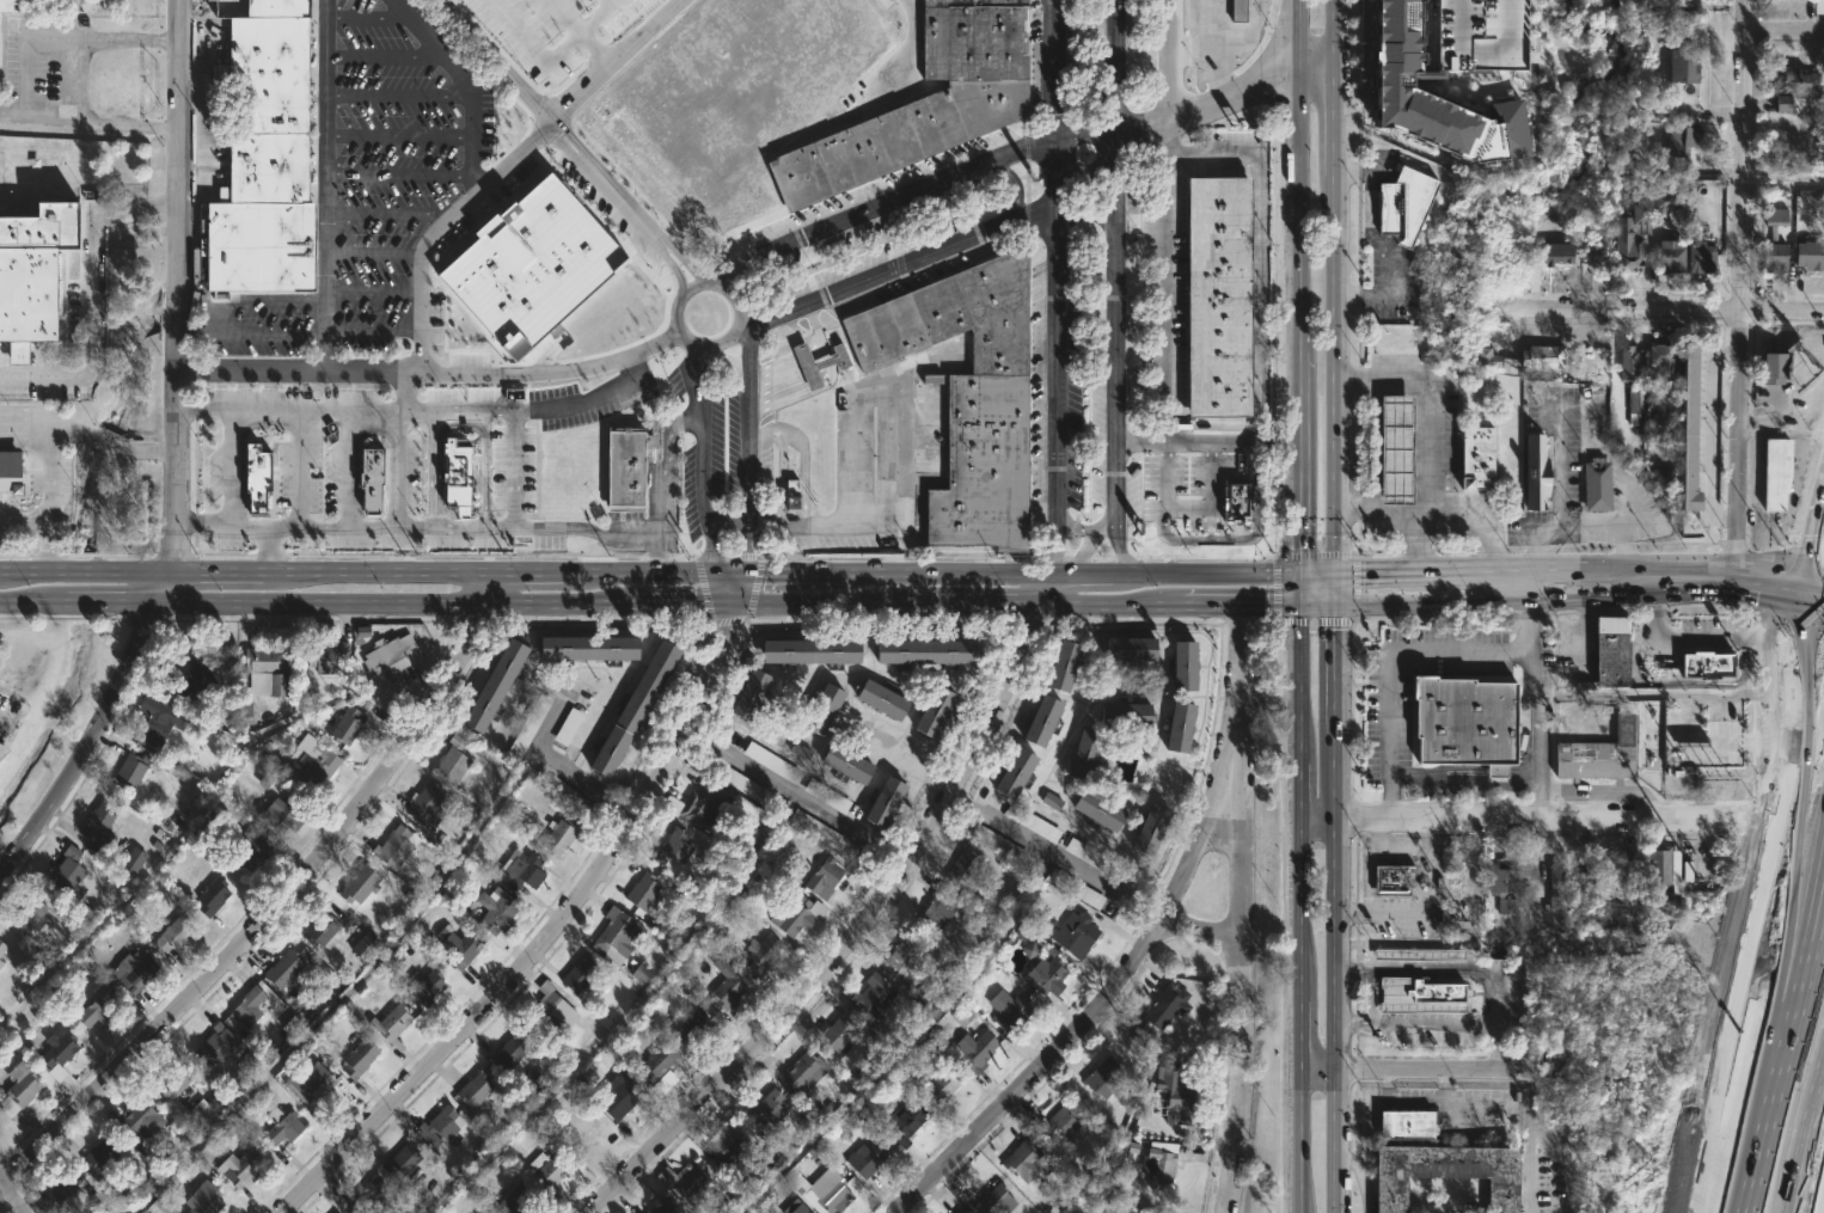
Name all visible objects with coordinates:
road: (610, 0)
building: (6, 4)
building: (1677, 4)
building: (1424, 6)
building: (262, 7)
building: (1236, 11)
road: (367, 17)
road: (1786, 30)
road: (580, 31)
road: (1334, 32)
road: (1300, 33)
road: (100, 36)
building: (1532, 36)
road: (1473, 51)
road: (382, 55)
road: (618, 55)
road: (547, 57)
road: (443, 62)
road: (1317, 66)
building: (1683, 66)
road: (1114, 67)
building: (1431, 67)
road: (1054, 68)
road: (24, 75)
building: (1394, 86)
building: (1797, 88)
road: (399, 96)
building: (1507, 100)
building: (925, 102)
building: (262, 108)
road: (1205, 108)
road: (555, 114)
road: (12, 115)
road: (1334, 120)
road: (99, 121)
road: (1079, 125)
road: (399, 135)
building: (1682, 139)
road: (472, 164)
road: (504, 165)
road: (399, 174)
road: (326, 185)
road: (1785, 185)
road: (1014, 190)
building: (1666, 203)
road: (883, 207)
building: (1390, 207)
road: (50, 208)
road: (1300, 209)
road: (387, 213)
building: (1776, 216)
building: (256, 247)
building: (1700, 251)
building: (1807, 252)
road: (680, 253)
road: (373, 255)
building: (1557, 255)
building: (1626, 255)
building: (1669, 257)
building: (1773, 257)
road: (667, 261)
road: (910, 262)
road: (1158, 263)
building: (531, 264)
building: (33, 272)
road: (1742, 281)
road: (694, 284)
road: (421, 288)
road: (373, 293)
building: (1214, 298)
road: (249, 301)
road: (173, 304)
road: (1660, 308)
road: (1260, 323)
road: (97, 327)
road: (372, 331)
road: (249, 337)
building: (1486, 357)
building: (1531, 359)
building: (1661, 361)
building: (814, 363)
building: (1629, 363)
building: (1770, 369)
road: (429, 372)
road: (1114, 372)
road: (44, 373)
road: (1334, 374)
road: (1054, 375)
road: (402, 390)
building: (966, 396)
road: (1300, 397)
building: (1633, 398)
road: (1575, 406)
road: (368, 408)
road: (449, 409)
road: (30, 411)
road: (434, 425)
road: (460, 425)
road: (1428, 430)
building: (1685, 431)
road: (229, 435)
road: (1275, 441)
road: (669, 442)
road: (1373, 446)
road: (889, 448)
road: (747, 449)
building: (1394, 449)
road: (702, 455)
road: (800, 455)
building: (1474, 459)
road: (296, 467)
building: (623, 468)
road: (514, 470)
building: (1774, 472)
building: (1535, 473)
building: (457, 476)
road: (778, 478)
building: (259, 479)
building: (373, 480)
building: (23, 482)
building: (1595, 485)
building: (789, 496)
road: (1211, 498)
building: (1234, 500)
road: (51, 502)
road: (1300, 508)
road: (1382, 511)
road: (218, 523)
road: (1816, 525)
road: (471, 529)
road: (1083, 529)
road: (43, 547)
road: (588, 551)
road: (1077, 557)
traffic signals: (1811, 559)
road: (728, 566)
road: (1579, 566)
road: (363, 571)
traffic signals: (728, 574)
road: (1014, 574)
traffic signals: (1335, 574)
road: (1317, 575)
traffic signals: (1300, 576)
road: (1524, 584)
road: (728, 589)
road: (1045, 589)
road: (1335, 589)
road: (1300, 590)
traffic signals: (1810, 593)
road: (1580, 599)
road: (363, 602)
traffic signals: (728, 605)
road: (885, 605)
traffic signals: (1302, 605)
traffic signals: (1336, 605)
road: (1188, 606)
road: (1585, 635)
road: (1691, 641)
building: (582, 649)
building: (807, 651)
building: (923, 651)
building: (1126, 651)
road: (1406, 653)
building: (325, 656)
building: (1606, 658)
building: (386, 660)
building: (1060, 662)
building: (1707, 663)
building: (1181, 666)
building: (267, 667)
road: (1336, 669)
building: (189, 672)
building: (494, 685)
road: (1609, 693)
building: (748, 694)
building: (880, 700)
building: (629, 709)
building: (821, 709)
building: (930, 712)
building: (1124, 712)
road: (1687, 716)
building: (1039, 718)
road: (1236, 718)
building: (157, 721)
building: (1462, 721)
road: (6, 724)
building: (343, 725)
building: (567, 725)
building: (1177, 725)
building: (527, 727)
building: (1082, 748)
building: (1, 749)
road: (91, 749)
building: (1597, 753)
building: (310, 756)
building: (449, 758)
building: (844, 760)
road: (558, 764)
building: (131, 770)
building: (1011, 772)
road: (1529, 783)
building: (562, 790)
road: (794, 796)
building: (882, 800)
building: (1053, 802)
road: (1537, 802)
building: (692, 803)
building: (422, 805)
building: (1092, 809)
building: (283, 814)
road: (1644, 821)
building: (98, 827)
building: (1036, 827)
building: (1146, 829)
building: (563, 837)
building: (392, 845)
building: (998, 845)
building: (247, 847)
building: (671, 847)
road: (1052, 853)
building: (1091, 858)
building: (961, 865)
road: (1182, 869)
building: (520, 870)
building: (71, 871)
building: (1632, 871)
building: (1660, 871)
building: (824, 877)
building: (1391, 878)
building: (359, 883)
road: (1234, 884)
building: (1502, 886)
building: (1554, 887)
road: (1763, 887)
building: (1076, 889)
building: (642, 890)
building: (213, 894)
road: (281, 905)
building: (937, 906)
road: (1303, 908)
building: (496, 909)
building: (32, 912)
building: (796, 914)
road: (1198, 927)
building: (317, 929)
building: (619, 931)
road: (851, 932)
building: (1073, 932)
building: (175, 933)
road: (551, 939)
building: (459, 946)
building: (2, 948)
building: (363, 948)
building: (761, 952)
building: (902, 955)
building: (1, 963)
building: (281, 967)
building: (134, 970)
road: (1336, 973)
building: (577, 974)
building: (1043, 975)
building: (723, 984)
building: (426, 986)
road: (1770, 990)
building: (1419, 995)
building: (871, 997)
road: (1495, 998)
building: (243, 1009)
building: (1161, 1009)
building: (551, 1010)
building: (1008, 1010)
building: (91, 1012)
building: (388, 1023)
building: (691, 1024)
building: (830, 1035)
building: (57, 1043)
building: (210, 1049)
building: (972, 1050)
building: (508, 1053)
building: (356, 1059)
building: (656, 1061)
building: (801, 1072)
road: (1035, 1072)
road: (1408, 1072)
building: (1101, 1077)
road: (1236, 1078)
building: (171, 1080)
building: (938, 1086)
building: (18, 1088)
building: (308, 1090)
building: (473, 1090)
building: (1173, 1091)
building: (616, 1095)
road: (1415, 1101)
building: (761, 1108)
road: (1794, 1116)
building: (137, 1119)
building: (901, 1120)
building: (1058, 1120)
building: (1404, 1125)
building: (434, 1126)
building: (277, 1127)
road: (1530, 1134)
building: (724, 1144)
building: (99, 1156)
building: (868, 1157)
building: (399, 1159)
building: (1021, 1160)
building: (240, 1166)
building: (1162, 1169)
building: (1442, 1171)
building: (545, 1172)
building: (684, 1181)
building: (1548, 1182)
road: (11, 1189)
building: (824, 1191)
building: (62, 1193)
building: (367, 1196)
building: (203, 1200)
building: (991, 1200)
building: (502, 1202)
building: (660, 1206)
building: (794, 1207)
building: (333, 1212)
building: (479, 1212)
building: (639, 1212)
building: (957, 1212)
building: (960, 1212)

